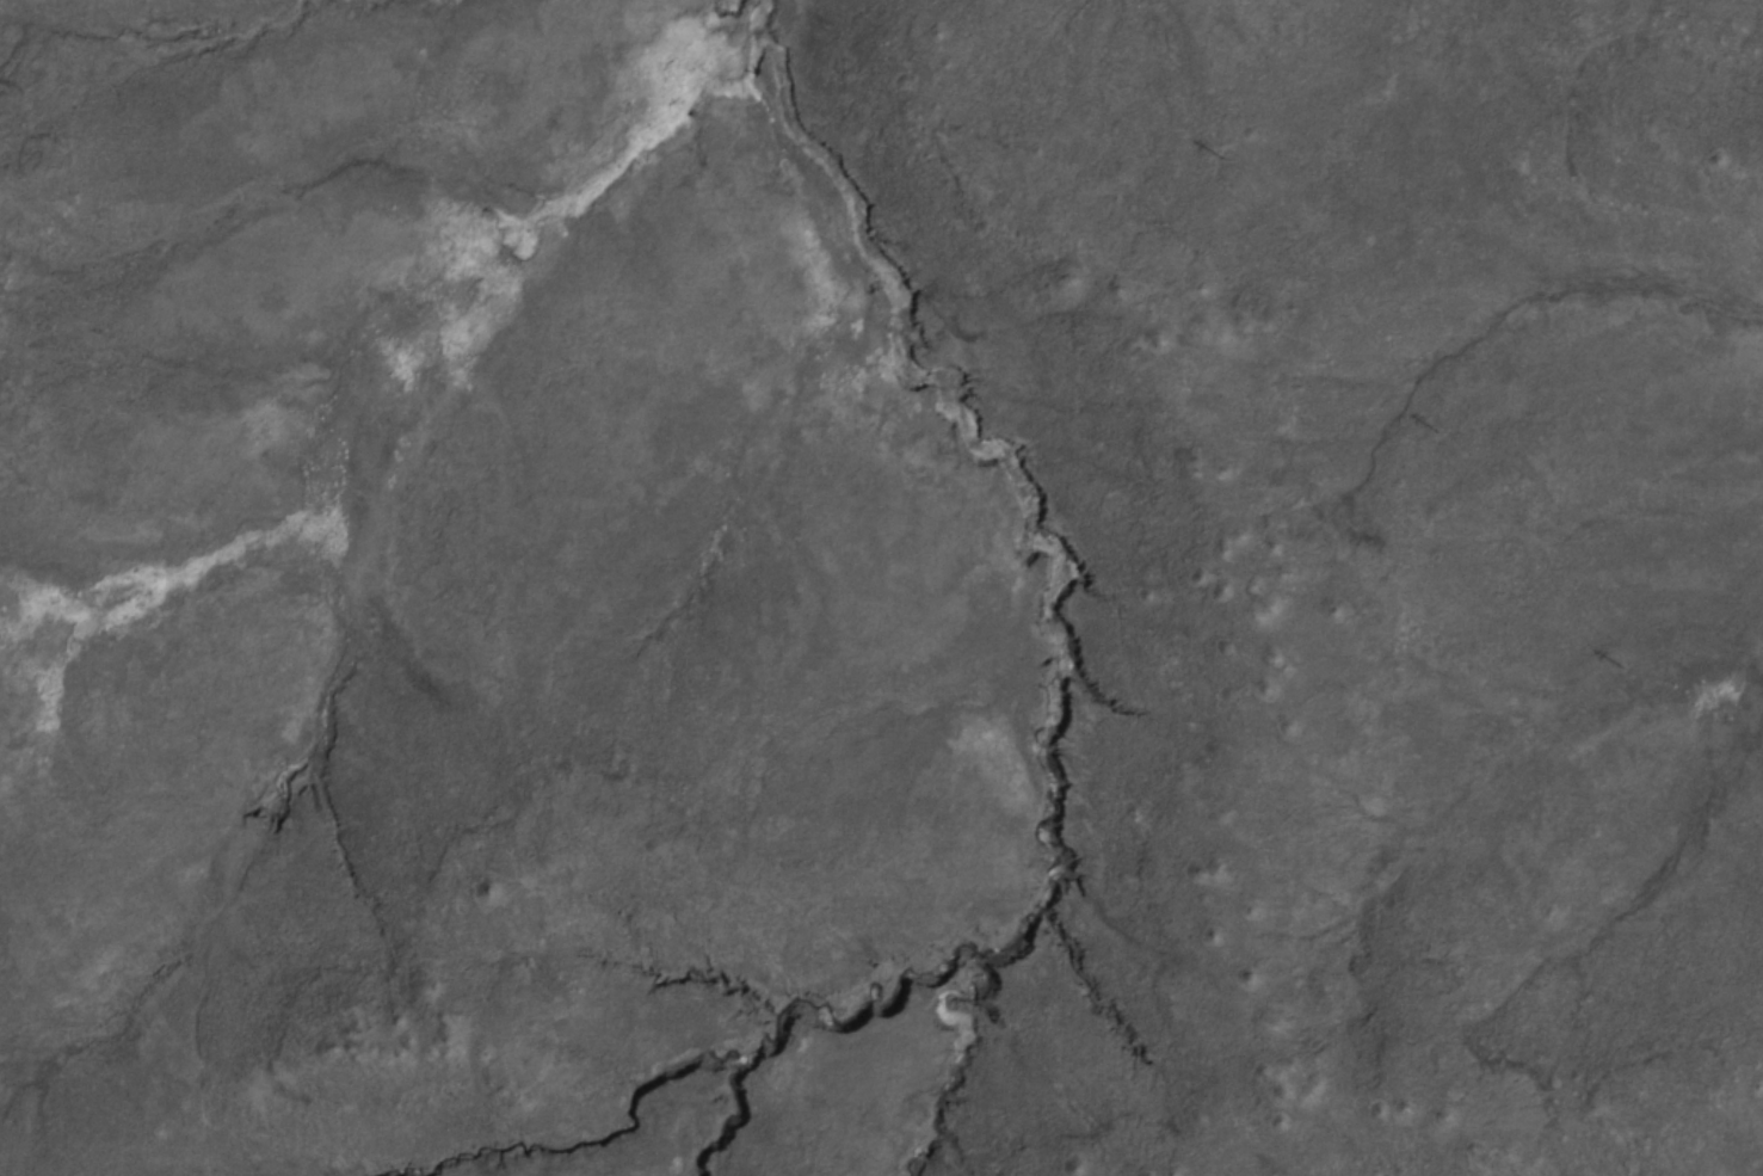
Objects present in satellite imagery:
power tower: (1231, 162)
power tower: (1445, 435)
power tower: (1633, 669)

